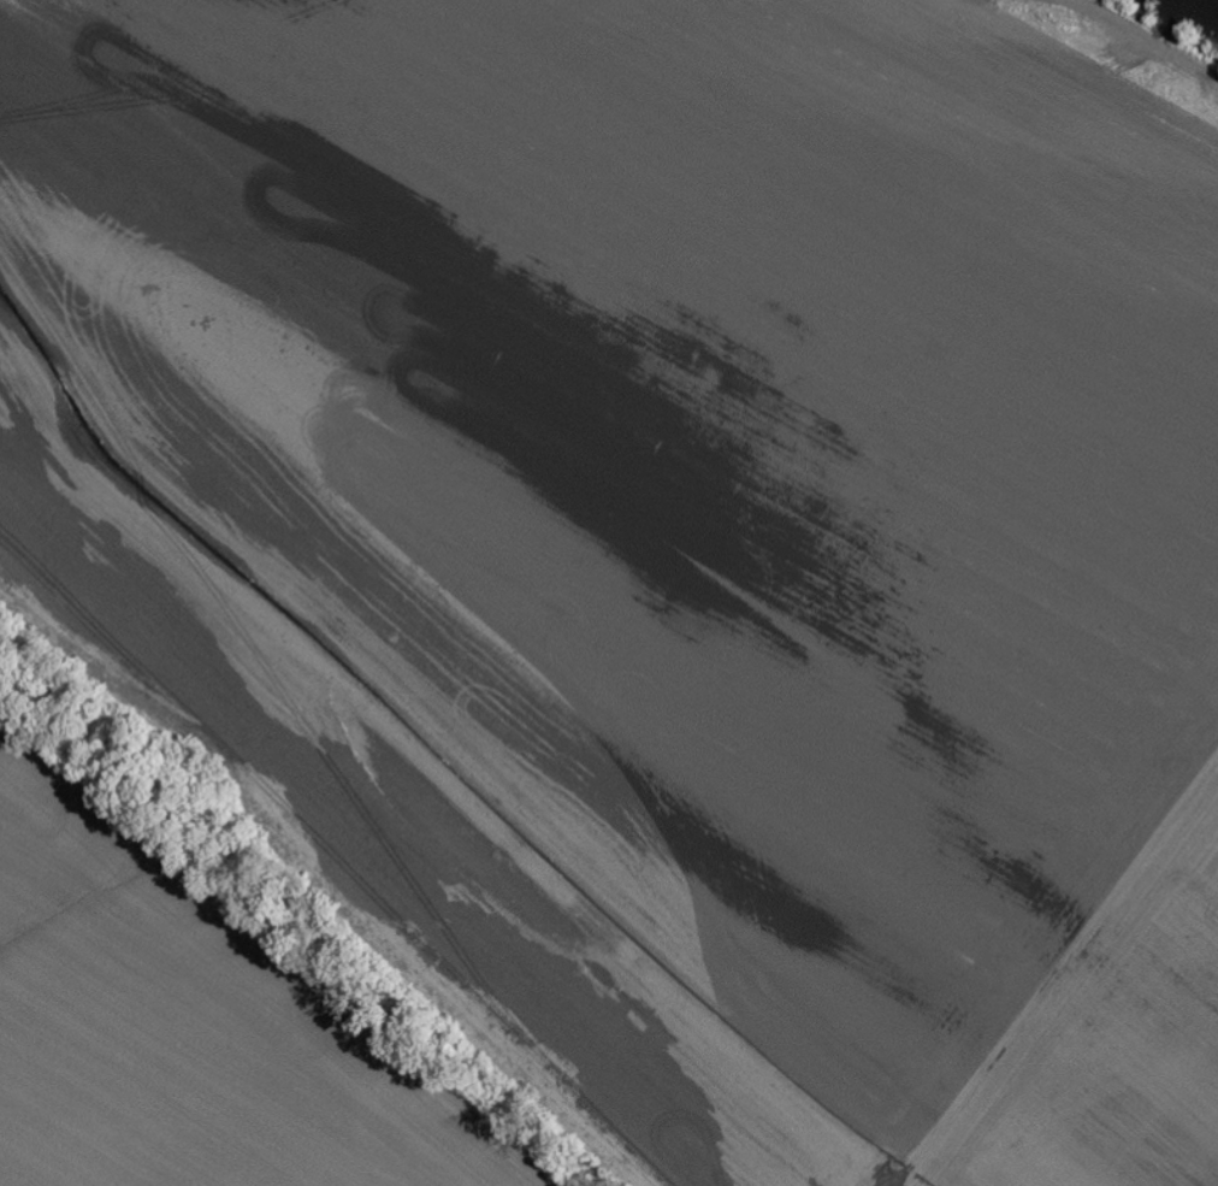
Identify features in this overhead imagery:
road: (274, 949)

